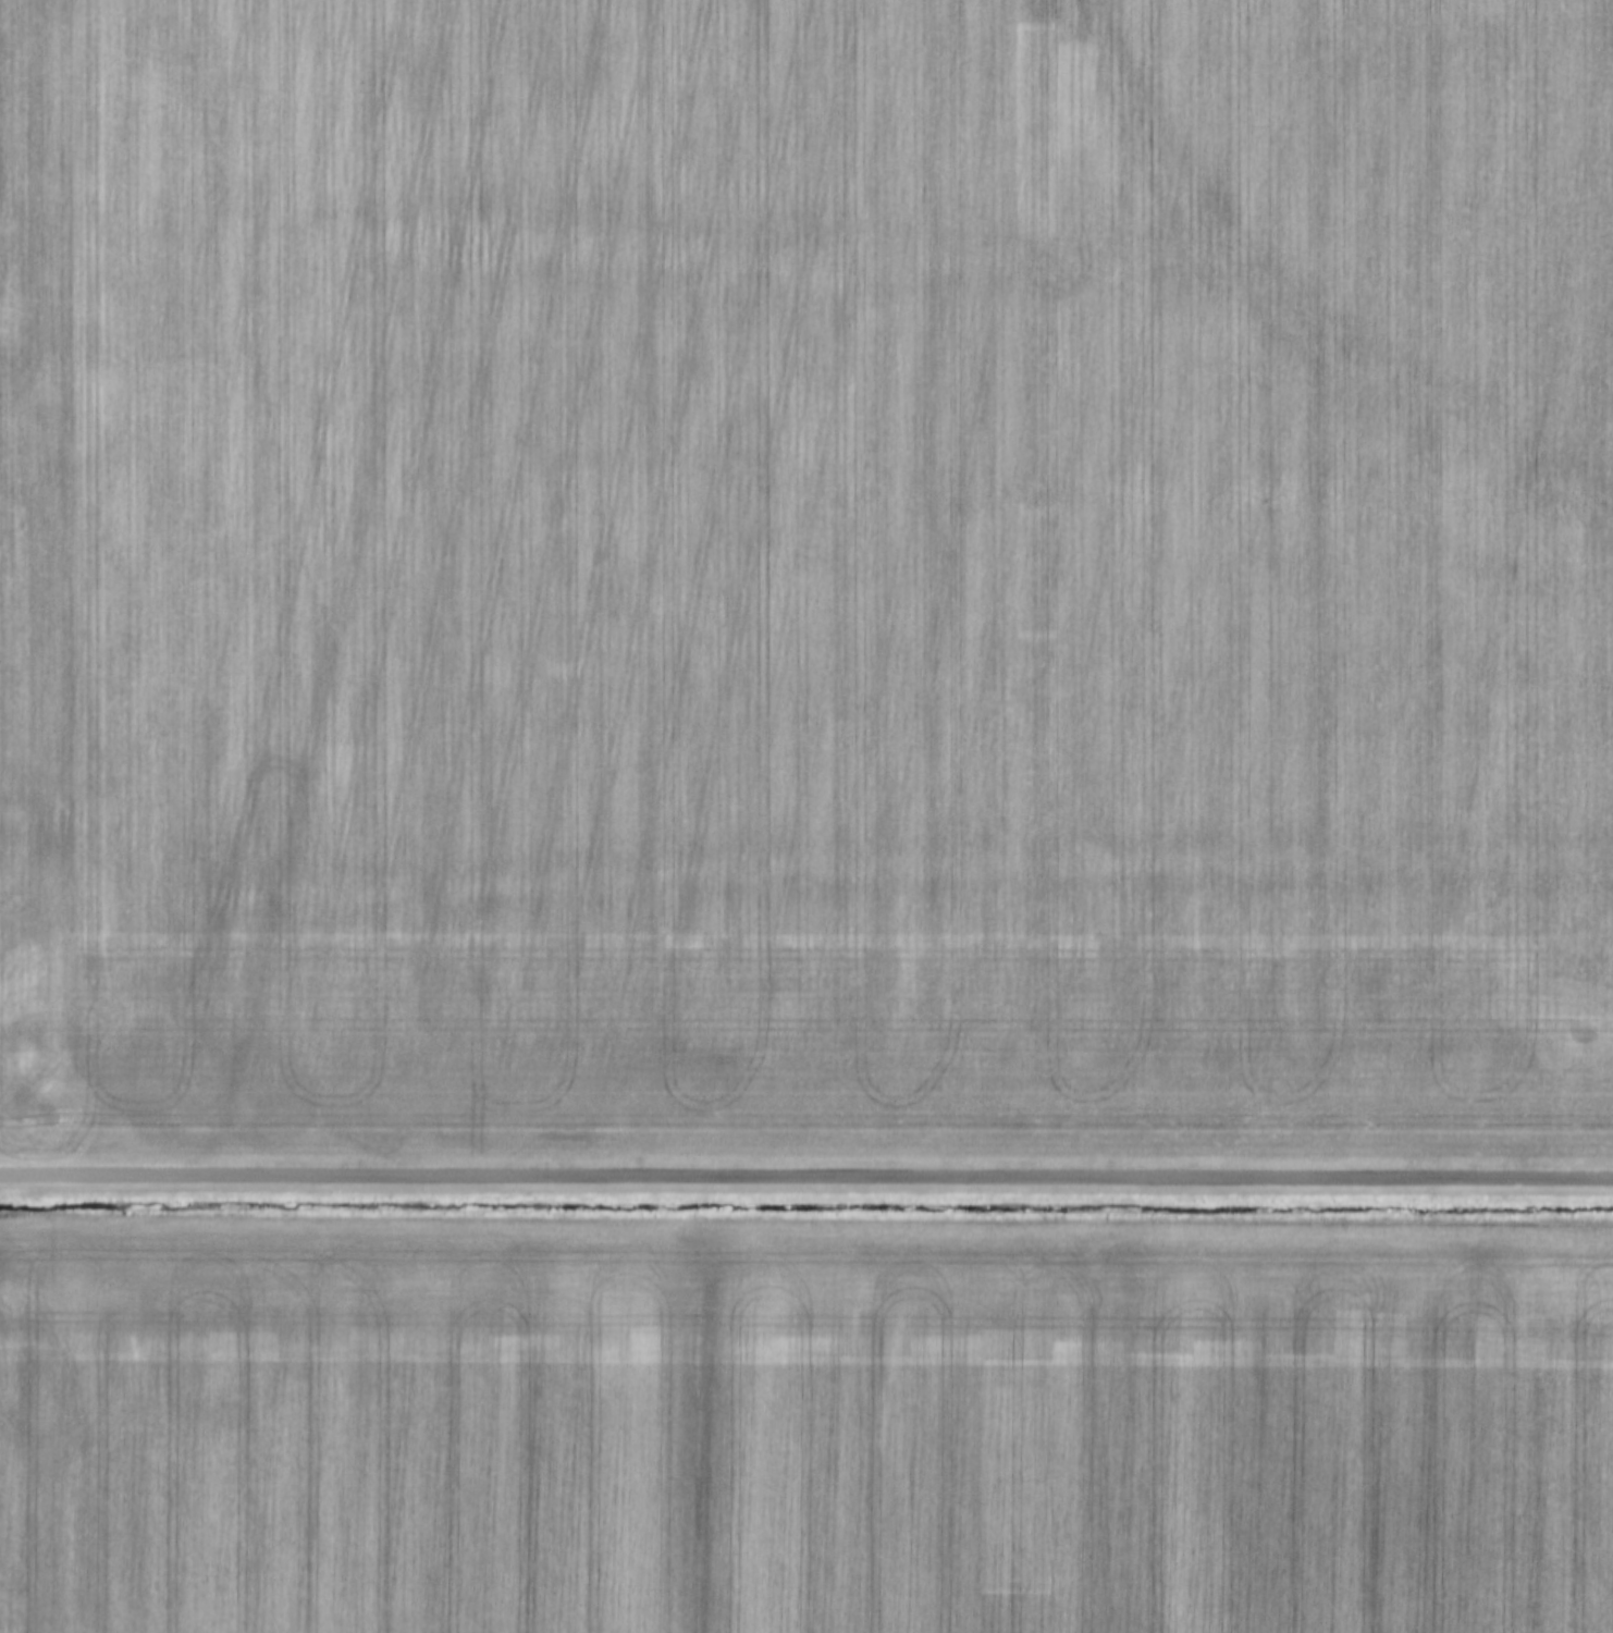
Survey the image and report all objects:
road: (805, 1181)

